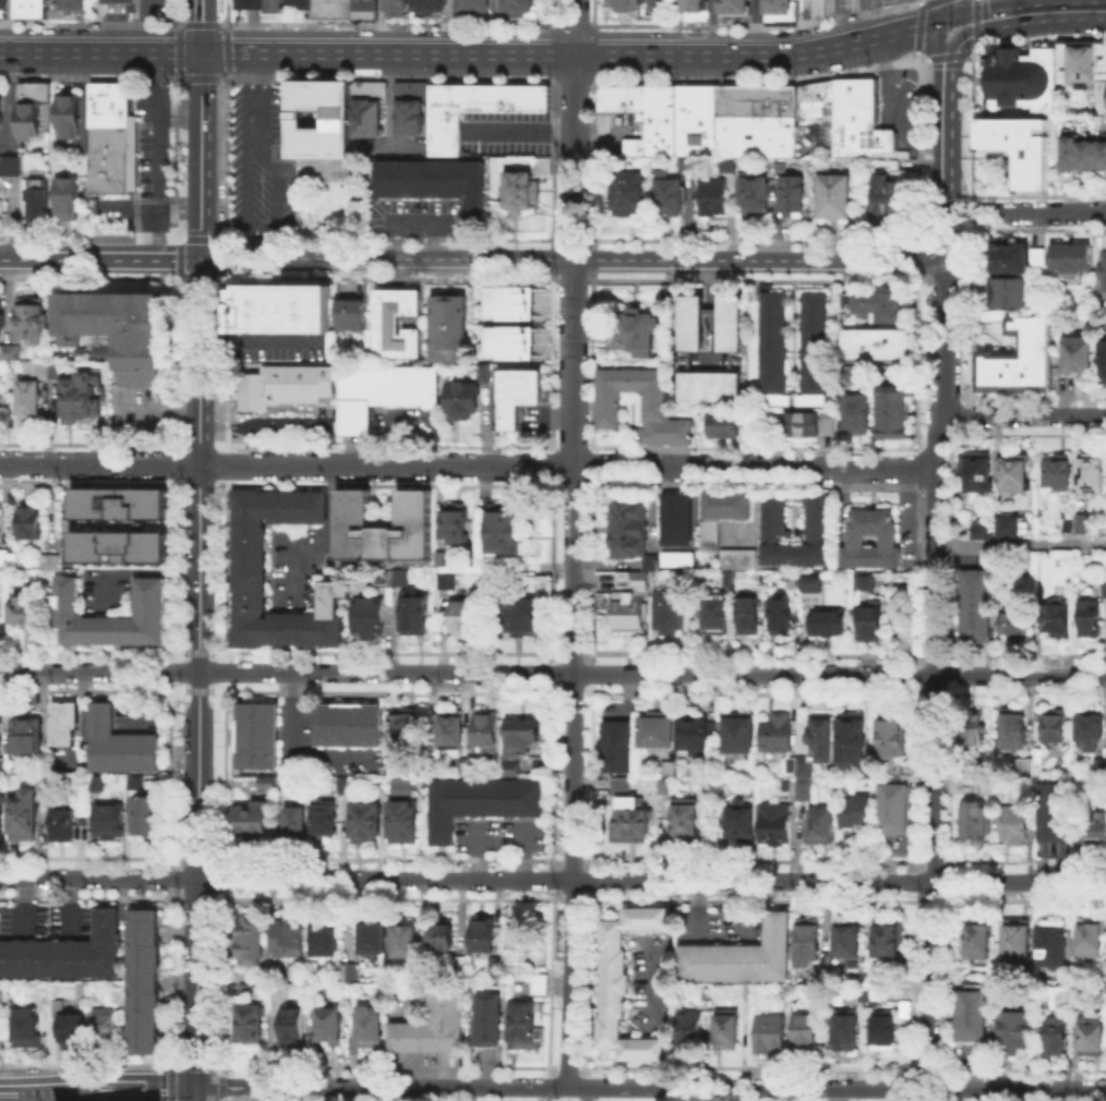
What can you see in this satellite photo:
road: (110, 0)
road: (120, 0)
road: (649, 1)
building: (622, 3)
parking lot: (858, 3)
building: (127, 4)
parking lot: (153, 4)
building: (271, 4)
building: (470, 4)
parking lot: (656, 4)
road: (1073, 4)
building: (426, 5)
building: (516, 5)
building: (2, 7)
building: (64, 7)
building: (394, 7)
building: (28, 8)
building: (817, 8)
building: (330, 9)
building: (363, 9)
building: (778, 9)
road: (1061, 9)
road: (101, 10)
building: (694, 10)
building: (732, 10)
road: (940, 11)
road: (903, 14)
road: (111, 16)
road: (979, 16)
road: (120, 19)
road: (858, 20)
traffic signals: (940, 22)
road: (975, 23)
road: (147, 26)
road: (201, 26)
road: (756, 26)
road: (378, 27)
road: (448, 27)
road: (492, 27)
road: (711, 27)
road: (91, 39)
road: (963, 39)
road: (111, 43)
road: (99, 53)
traffic signals: (201, 53)
road: (758, 53)
road: (946, 53)
road: (387, 55)
road: (940, 59)
building: (1071, 62)
building: (1098, 63)
traffic signals: (948, 66)
building: (1017, 81)
building: (410, 93)
building: (1099, 97)
building: (616, 99)
building: (107, 106)
road: (891, 108)
parking lot: (894, 109)
building: (478, 110)
building: (0, 111)
building: (29, 114)
building: (65, 118)
building: (334, 119)
building: (410, 119)
building: (814, 120)
building: (854, 121)
building: (658, 122)
building: (697, 122)
building: (756, 122)
road: (524, 132)
parking lot: (507, 135)
building: (1019, 148)
road: (945, 152)
road: (201, 155)
building: (1080, 157)
building: (107, 161)
parking lot: (261, 162)
building: (12, 166)
building: (541, 166)
parking lot: (145, 170)
building: (430, 184)
building: (627, 189)
building: (519, 190)
building: (666, 196)
building: (749, 197)
building: (789, 197)
building: (829, 197)
building: (70, 201)
building: (710, 201)
building: (889, 201)
building: (41, 203)
road: (971, 207)
road: (1051, 213)
road: (419, 221)
road: (945, 233)
road: (21, 255)
road: (121, 255)
building: (1013, 256)
traffic signals: (201, 257)
road: (572, 259)
building: (1072, 262)
building: (1104, 274)
building: (1010, 294)
building: (509, 302)
building: (878, 306)
building: (282, 310)
building: (352, 316)
building: (1, 320)
building: (33, 324)
building: (398, 324)
building: (695, 325)
building: (733, 325)
building: (453, 328)
building: (508, 328)
building: (116, 329)
building: (632, 330)
road: (941, 338)
building: (770, 344)
building: (813, 344)
building: (880, 347)
building: (11, 354)
building: (1081, 355)
building: (1103, 359)
building: (1022, 360)
building: (34, 368)
building: (49, 368)
building: (483, 372)
building: (713, 386)
building: (279, 390)
building: (387, 394)
building: (519, 394)
building: (466, 398)
building: (31, 400)
building: (81, 401)
building: (1, 407)
building: (651, 408)
road: (157, 411)
building: (891, 411)
building: (858, 414)
road: (1022, 415)
building: (729, 426)
building: (803, 426)
building: (831, 427)
road: (467, 464)
building: (978, 471)
building: (1058, 474)
building: (1093, 475)
building: (1017, 476)
building: (117, 503)
building: (728, 504)
road: (847, 504)
building: (675, 518)
road: (909, 519)
building: (777, 520)
building: (456, 522)
building: (34, 524)
building: (1084, 524)
building: (627, 525)
building: (1007, 525)
building: (386, 527)
building: (505, 532)
building: (985, 533)
building: (711, 534)
building: (874, 542)
road: (573, 543)
road: (1020, 545)
building: (117, 547)
building: (251, 552)
building: (677, 557)
building: (443, 558)
building: (740, 559)
building: (649, 561)
building: (55, 562)
building: (399, 577)
building: (630, 580)
building: (809, 580)
building: (447, 581)
building: (728, 581)
building: (867, 583)
building: (1102, 589)
building: (978, 607)
building: (628, 612)
building: (26, 613)
building: (414, 613)
building: (670, 613)
building: (525, 615)
building: (372, 616)
building: (782, 616)
building: (718, 617)
building: (113, 618)
building: (750, 619)
building: (464, 620)
building: (1090, 620)
building: (826, 621)
building: (873, 621)
building: (1057, 622)
building: (1015, 626)
road: (199, 672)
road: (552, 673)
building: (67, 726)
building: (349, 726)
building: (405, 727)
building: (974, 728)
building: (1054, 728)
building: (1091, 729)
building: (452, 730)
building: (1015, 730)
building: (1, 733)
building: (657, 733)
building: (488, 734)
building: (779, 735)
building: (28, 736)
building: (741, 736)
building: (522, 737)
building: (694, 737)
building: (259, 738)
building: (822, 738)
building: (854, 739)
building: (893, 740)
building: (118, 745)
building: (618, 747)
road: (933, 752)
building: (801, 766)
building: (433, 767)
building: (1020, 767)
building: (5, 769)
building: (671, 769)
building: (465, 770)
building: (512, 770)
building: (1101, 770)
building: (895, 771)
building: (869, 773)
building: (94, 782)
building: (269, 782)
building: (345, 787)
building: (804, 789)
building: (482, 802)
building: (893, 809)
building: (141, 812)
building: (856, 812)
building: (1055, 813)
building: (629, 814)
building: (405, 815)
building: (1, 816)
building: (106, 816)
building: (25, 818)
building: (243, 819)
building: (973, 820)
building: (686, 822)
building: (297, 823)
building: (368, 823)
building: (776, 823)
building: (325, 824)
building: (740, 824)
building: (1014, 826)
building: (63, 827)
building: (821, 828)
building: (1095, 832)
road: (552, 880)
building: (286, 934)
building: (375, 936)
building: (327, 937)
building: (484, 937)
building: (444, 939)
building: (890, 939)
building: (851, 940)
building: (251, 942)
building: (407, 942)
building: (806, 942)
building: (981, 942)
building: (1019, 942)
building: (1090, 943)
building: (1053, 945)
building: (742, 954)
building: (65, 956)
building: (462, 966)
building: (497, 968)
building: (349, 972)
building: (143, 981)
building: (543, 984)
building: (624, 984)
building: (867, 984)
building: (879, 989)
building: (248, 991)
building: (5, 994)
building: (711, 994)
building: (1065, 999)
building: (977, 1018)
building: (492, 1020)
building: (29, 1026)
building: (107, 1026)
building: (251, 1027)
building: (436, 1027)
building: (332, 1028)
building: (371, 1028)
building: (530, 1028)
building: (294, 1030)
building: (733, 1030)
building: (73, 1031)
building: (694, 1031)
building: (852, 1032)
building: (891, 1032)
building: (812, 1033)
building: (777, 1035)
building: (1017, 1035)
building: (1093, 1035)
building: (1056, 1037)
road: (220, 1084)
road: (49, 1085)
road: (146, 1086)
traffic signals: (193, 1086)
road: (649, 1088)
road: (202, 1091)
road: (192, 1093)
road: (400, 1093)
road: (597, 1094)
road: (723, 1094)
road: (837, 1094)

